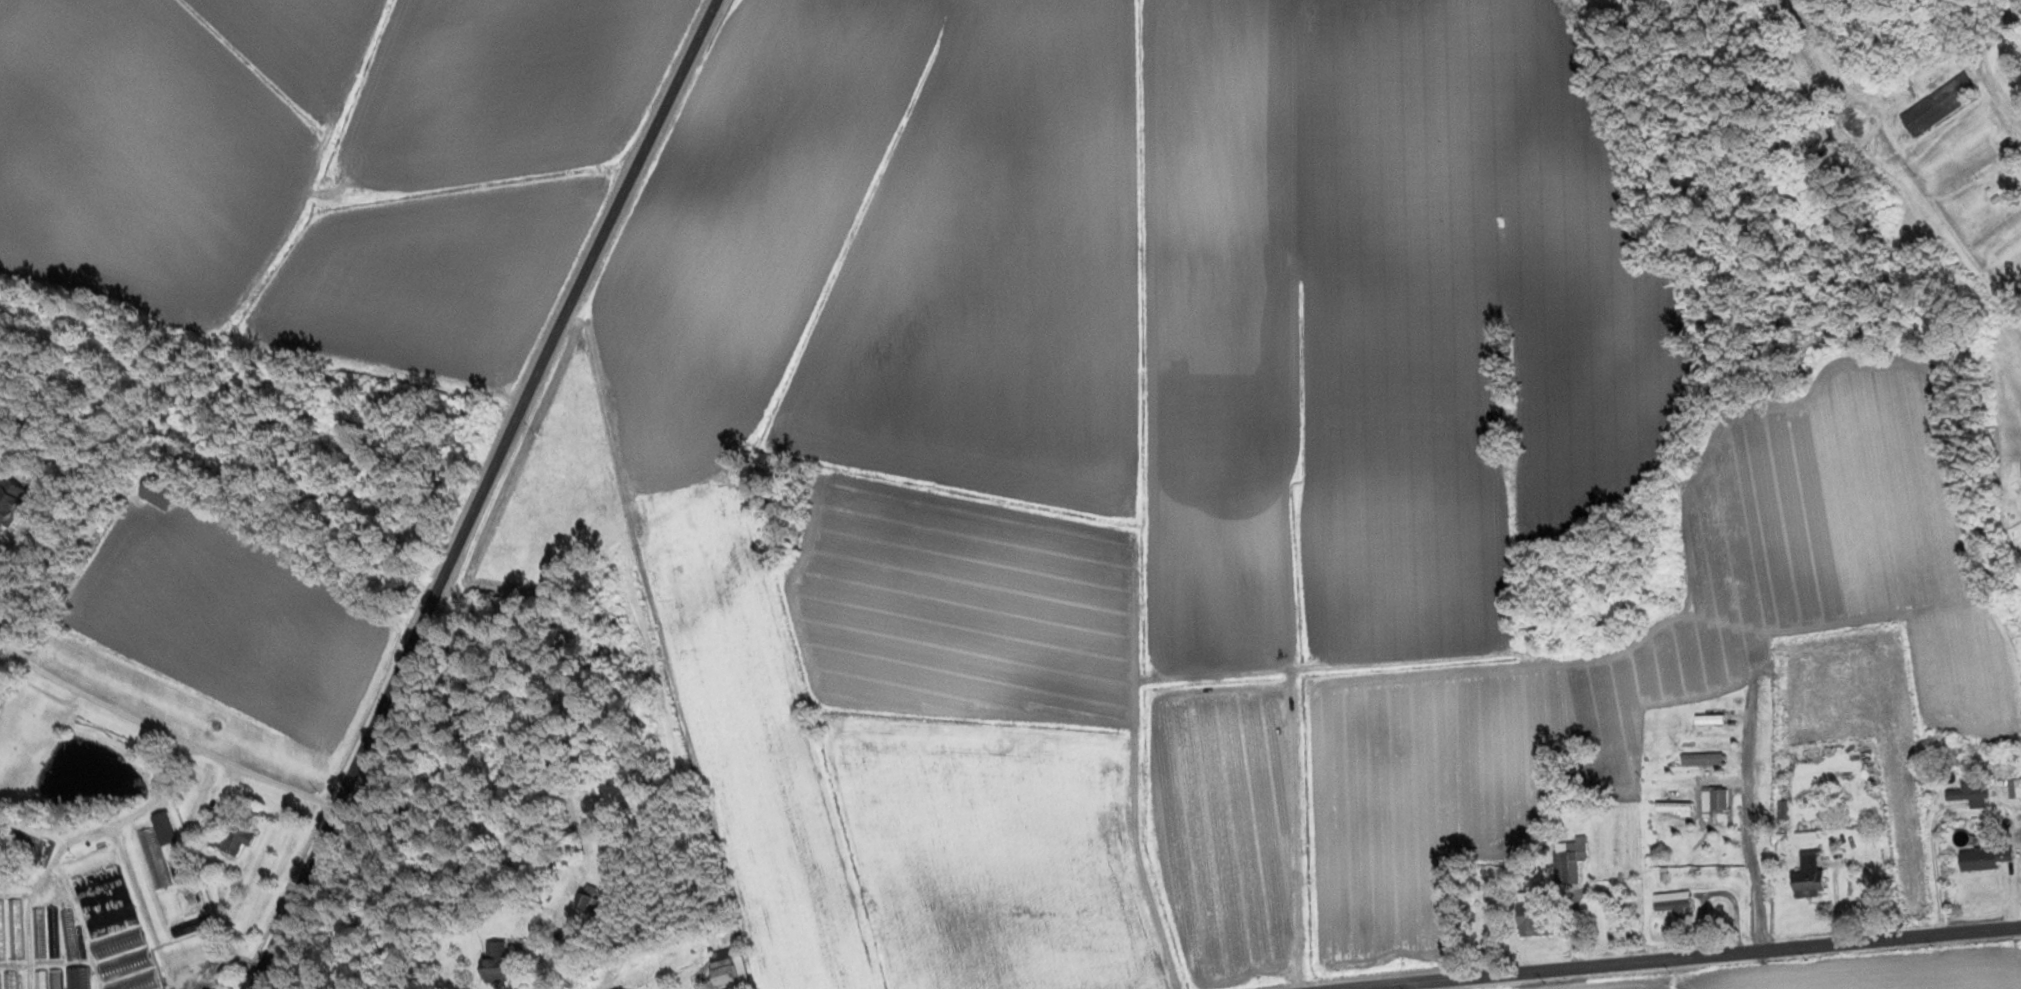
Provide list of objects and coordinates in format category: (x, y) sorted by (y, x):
building: (1936, 104)
building: (153, 492)
road: (482, 492)
building: (10, 501)
road: (657, 656)
building: (1712, 751)
building: (2013, 789)
building: (1967, 795)
building: (1716, 798)
building: (1672, 802)
road: (2002, 810)
building: (1779, 811)
building: (234, 836)
building: (155, 849)
road: (1749, 857)
building: (1982, 857)
road: (614, 858)
building: (1565, 861)
road: (1941, 871)
building: (1806, 876)
road: (1843, 892)
building: (188, 899)
building: (585, 902)
building: (1669, 902)
road: (142, 910)
building: (1529, 915)
road: (2020, 918)
building: (14, 929)
building: (1, 930)
building: (67, 934)
building: (115, 943)
road: (207, 950)
road: (1682, 958)
building: (490, 962)
building: (122, 965)
building: (719, 972)
building: (76, 978)
building: (53, 979)
building: (9, 980)
building: (135, 982)

